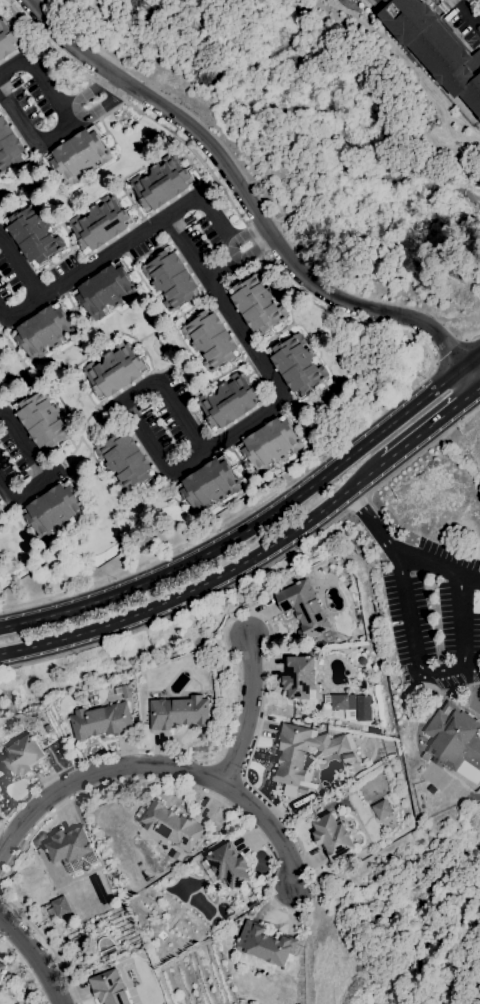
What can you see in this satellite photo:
road: (468, 15)
building: (7, 39)
building: (435, 47)
road: (39, 80)
road: (85, 92)
road: (100, 108)
road: (30, 140)
building: (10, 147)
building: (78, 154)
building: (161, 183)
road: (251, 196)
road: (212, 211)
building: (100, 224)
building: (33, 234)
road: (191, 240)
road: (240, 250)
road: (106, 257)
road: (20, 271)
building: (171, 278)
building: (105, 290)
building: (256, 304)
road: (19, 318)
building: (43, 330)
road: (473, 332)
road: (412, 336)
building: (211, 339)
road: (449, 349)
building: (296, 364)
building: (114, 371)
building: (229, 401)
building: (43, 420)
road: (431, 423)
building: (270, 443)
road: (413, 459)
building: (124, 460)
road: (197, 463)
road: (44, 470)
building: (208, 484)
building: (0, 504)
building: (53, 509)
building: (1, 511)
road: (258, 523)
road: (373, 525)
road: (439, 569)
building: (334, 570)
road: (204, 582)
building: (303, 608)
road: (183, 611)
building: (299, 677)
road: (432, 677)
building: (126, 691)
building: (339, 701)
road: (250, 711)
building: (178, 712)
building: (101, 721)
building: (373, 731)
building: (455, 741)
building: (302, 752)
building: (21, 756)
building: (425, 756)
building: (348, 757)
building: (430, 765)
road: (163, 769)
road: (246, 773)
building: (382, 809)
building: (138, 814)
building: (171, 825)
building: (332, 836)
building: (205, 844)
building: (73, 849)
building: (229, 865)
building: (255, 902)
building: (60, 906)
road: (46, 943)
building: (263, 947)
road: (35, 955)
building: (2, 969)
building: (108, 988)

